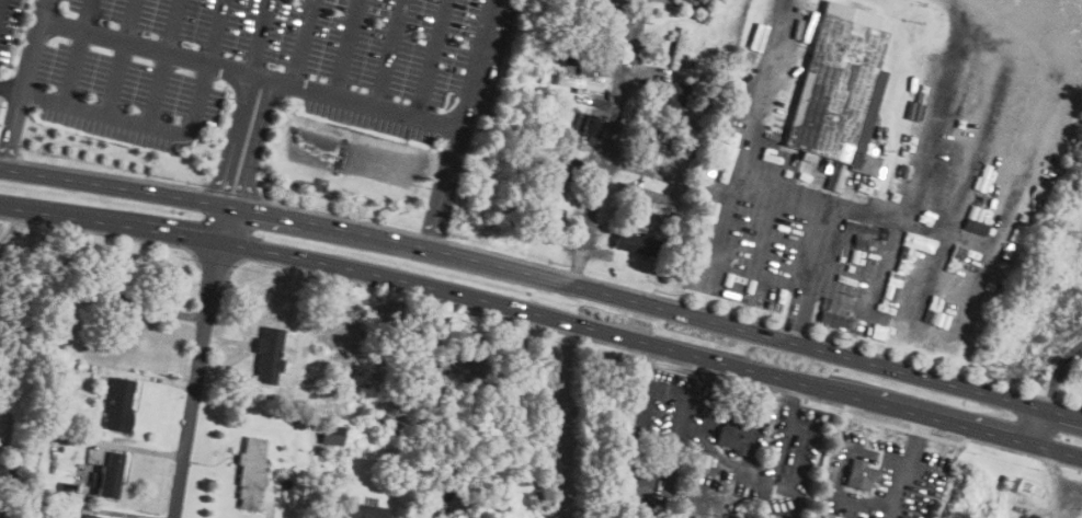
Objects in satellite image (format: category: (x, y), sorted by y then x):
building: (691, 2)
road: (86, 13)
road: (130, 19)
road: (173, 23)
road: (215, 28)
road: (259, 34)
road: (304, 39)
road: (348, 45)
building: (679, 45)
road: (390, 50)
road: (432, 56)
road: (71, 65)
road: (251, 68)
road: (115, 76)
road: (23, 83)
building: (578, 83)
road: (157, 85)
building: (839, 85)
road: (10, 89)
building: (679, 95)
road: (141, 123)
road: (459, 123)
building: (586, 124)
road: (243, 139)
road: (606, 141)
building: (560, 171)
building: (646, 194)
building: (556, 218)
building: (635, 243)
road: (808, 272)
road: (545, 276)
road: (545, 315)
building: (270, 353)
road: (197, 361)
building: (118, 404)
road: (514, 417)
road: (787, 427)
road: (1036, 427)
building: (331, 434)
building: (729, 436)
road: (804, 446)
road: (722, 458)
building: (253, 472)
building: (109, 474)
building: (859, 475)
building: (636, 485)
building: (362, 510)
building: (88, 516)

